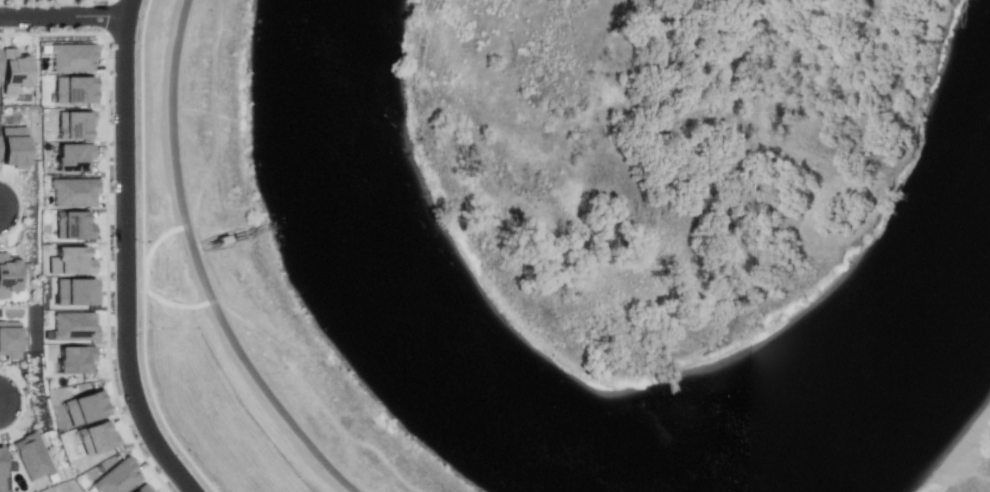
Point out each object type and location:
road: (128, 7)
road: (63, 15)
building: (70, 56)
building: (12, 72)
building: (72, 90)
building: (72, 125)
building: (13, 146)
building: (70, 157)
building: (72, 192)
road: (21, 207)
road: (107, 219)
building: (72, 225)
road: (143, 255)
building: (69, 261)
road: (125, 261)
road: (199, 269)
building: (8, 273)
building: (74, 291)
building: (72, 325)
building: (9, 338)
building: (73, 359)
road: (23, 400)
building: (84, 407)
building: (95, 437)
building: (32, 454)
river: (532, 463)
building: (0, 467)
building: (116, 478)
building: (141, 488)

